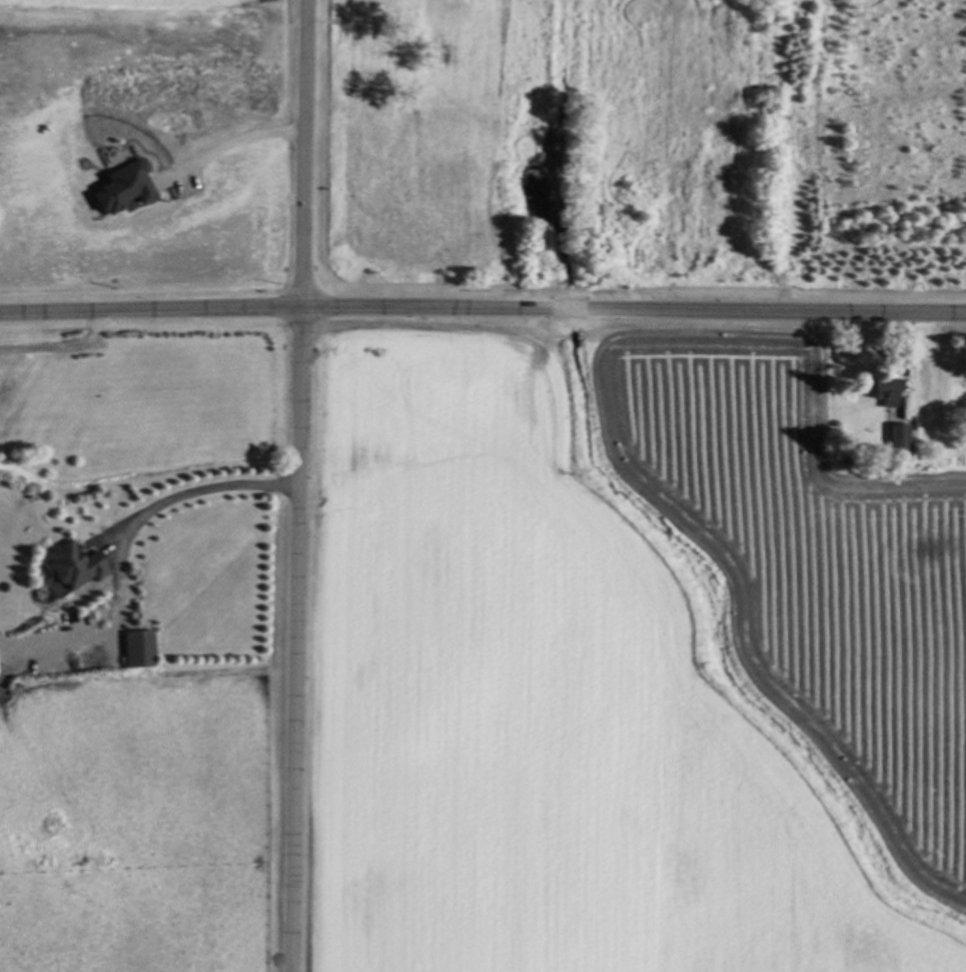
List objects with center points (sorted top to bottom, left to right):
road: (233, 143)
building: (121, 186)
road: (482, 311)
road: (61, 346)
building: (883, 389)
building: (896, 435)
road: (297, 485)
road: (123, 543)
building: (73, 565)
building: (135, 648)
crop: (626, 668)

